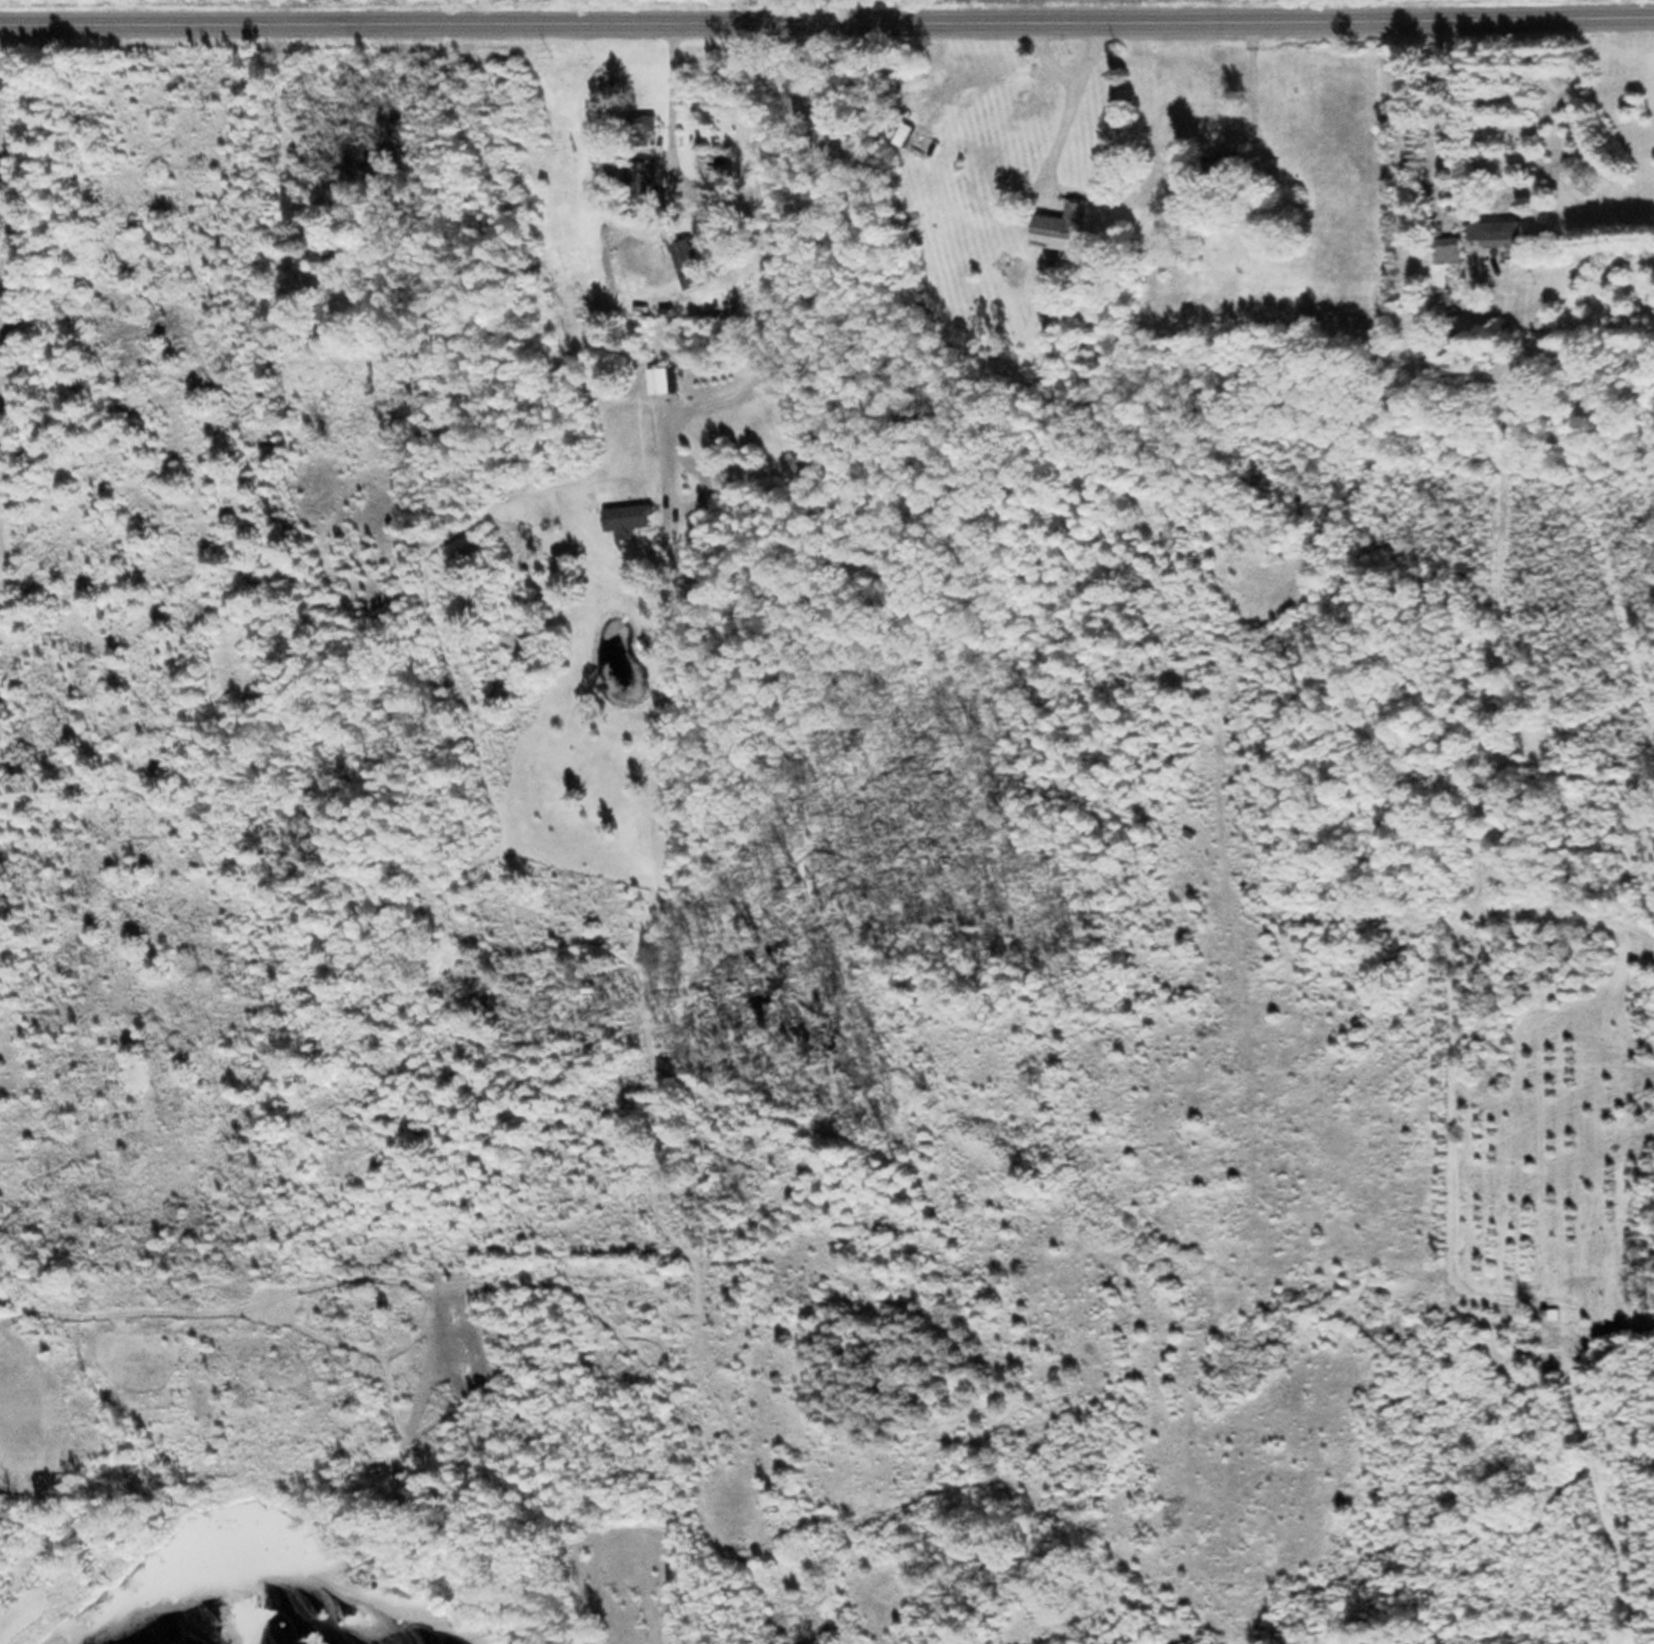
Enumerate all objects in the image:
road: (826, 27)
building: (642, 124)
building: (913, 138)
building: (1062, 224)
building: (1496, 229)
building: (1447, 250)
building: (331, 260)
building: (689, 262)
building: (660, 378)
building: (627, 518)
building: (697, 521)

